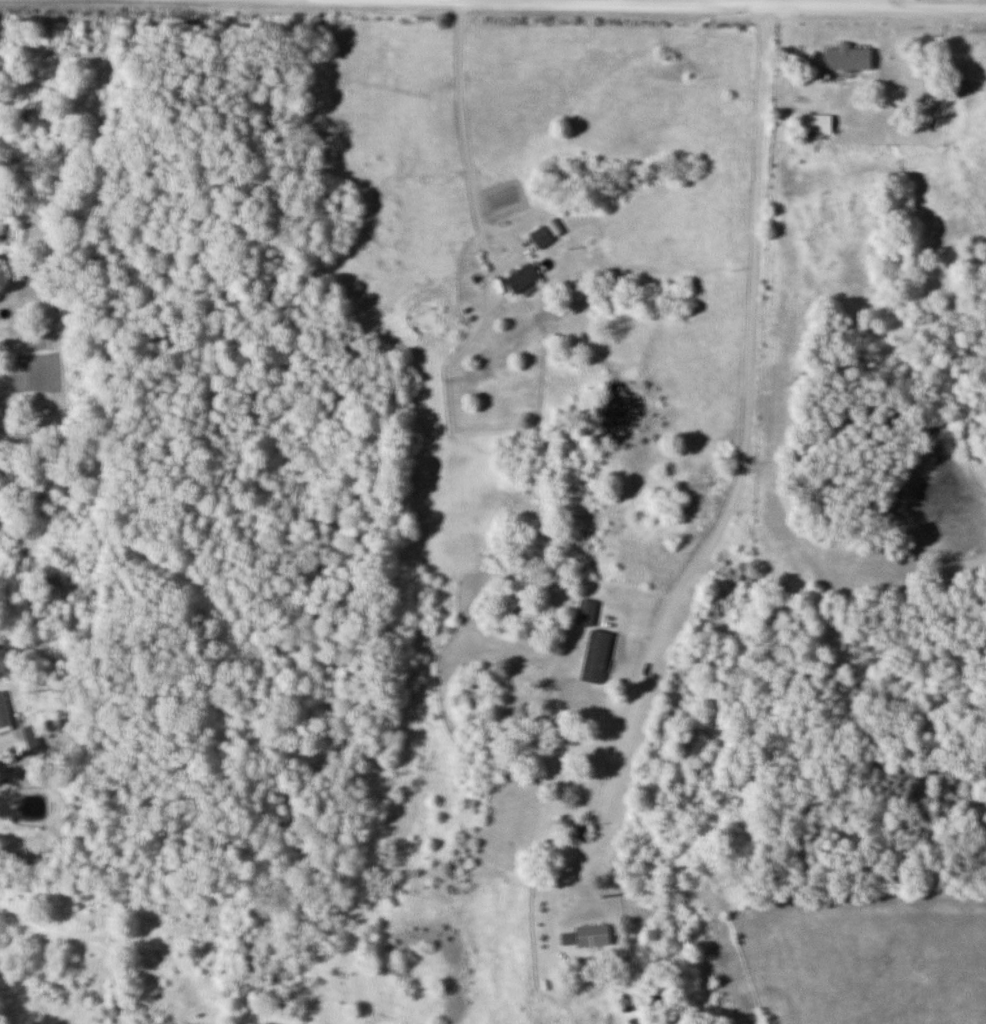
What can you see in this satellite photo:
road: (761, 4)
road: (461, 118)
building: (822, 122)
building: (543, 236)
road: (511, 256)
building: (525, 277)
road: (732, 493)
building: (588, 611)
building: (599, 656)
building: (4, 711)
building: (24, 739)
building: (596, 935)

